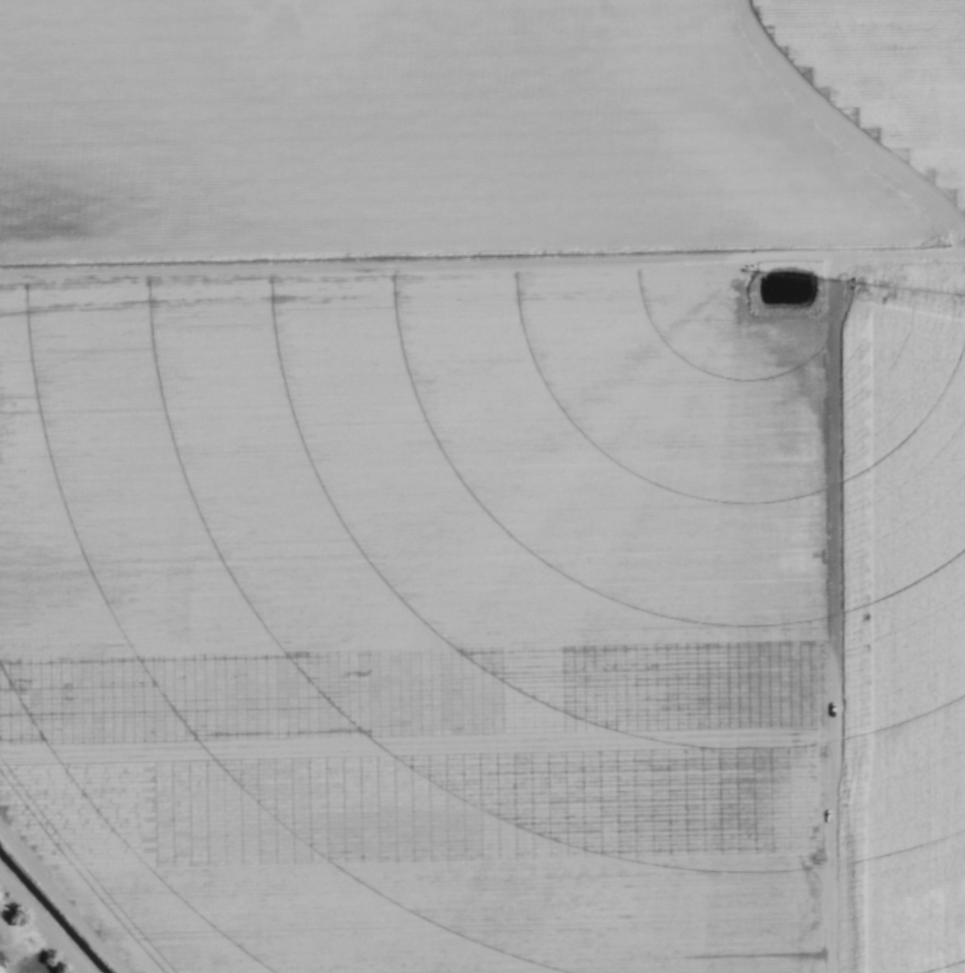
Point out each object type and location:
road: (64, 898)
road: (48, 917)
building: (0, 959)
building: (2, 972)

